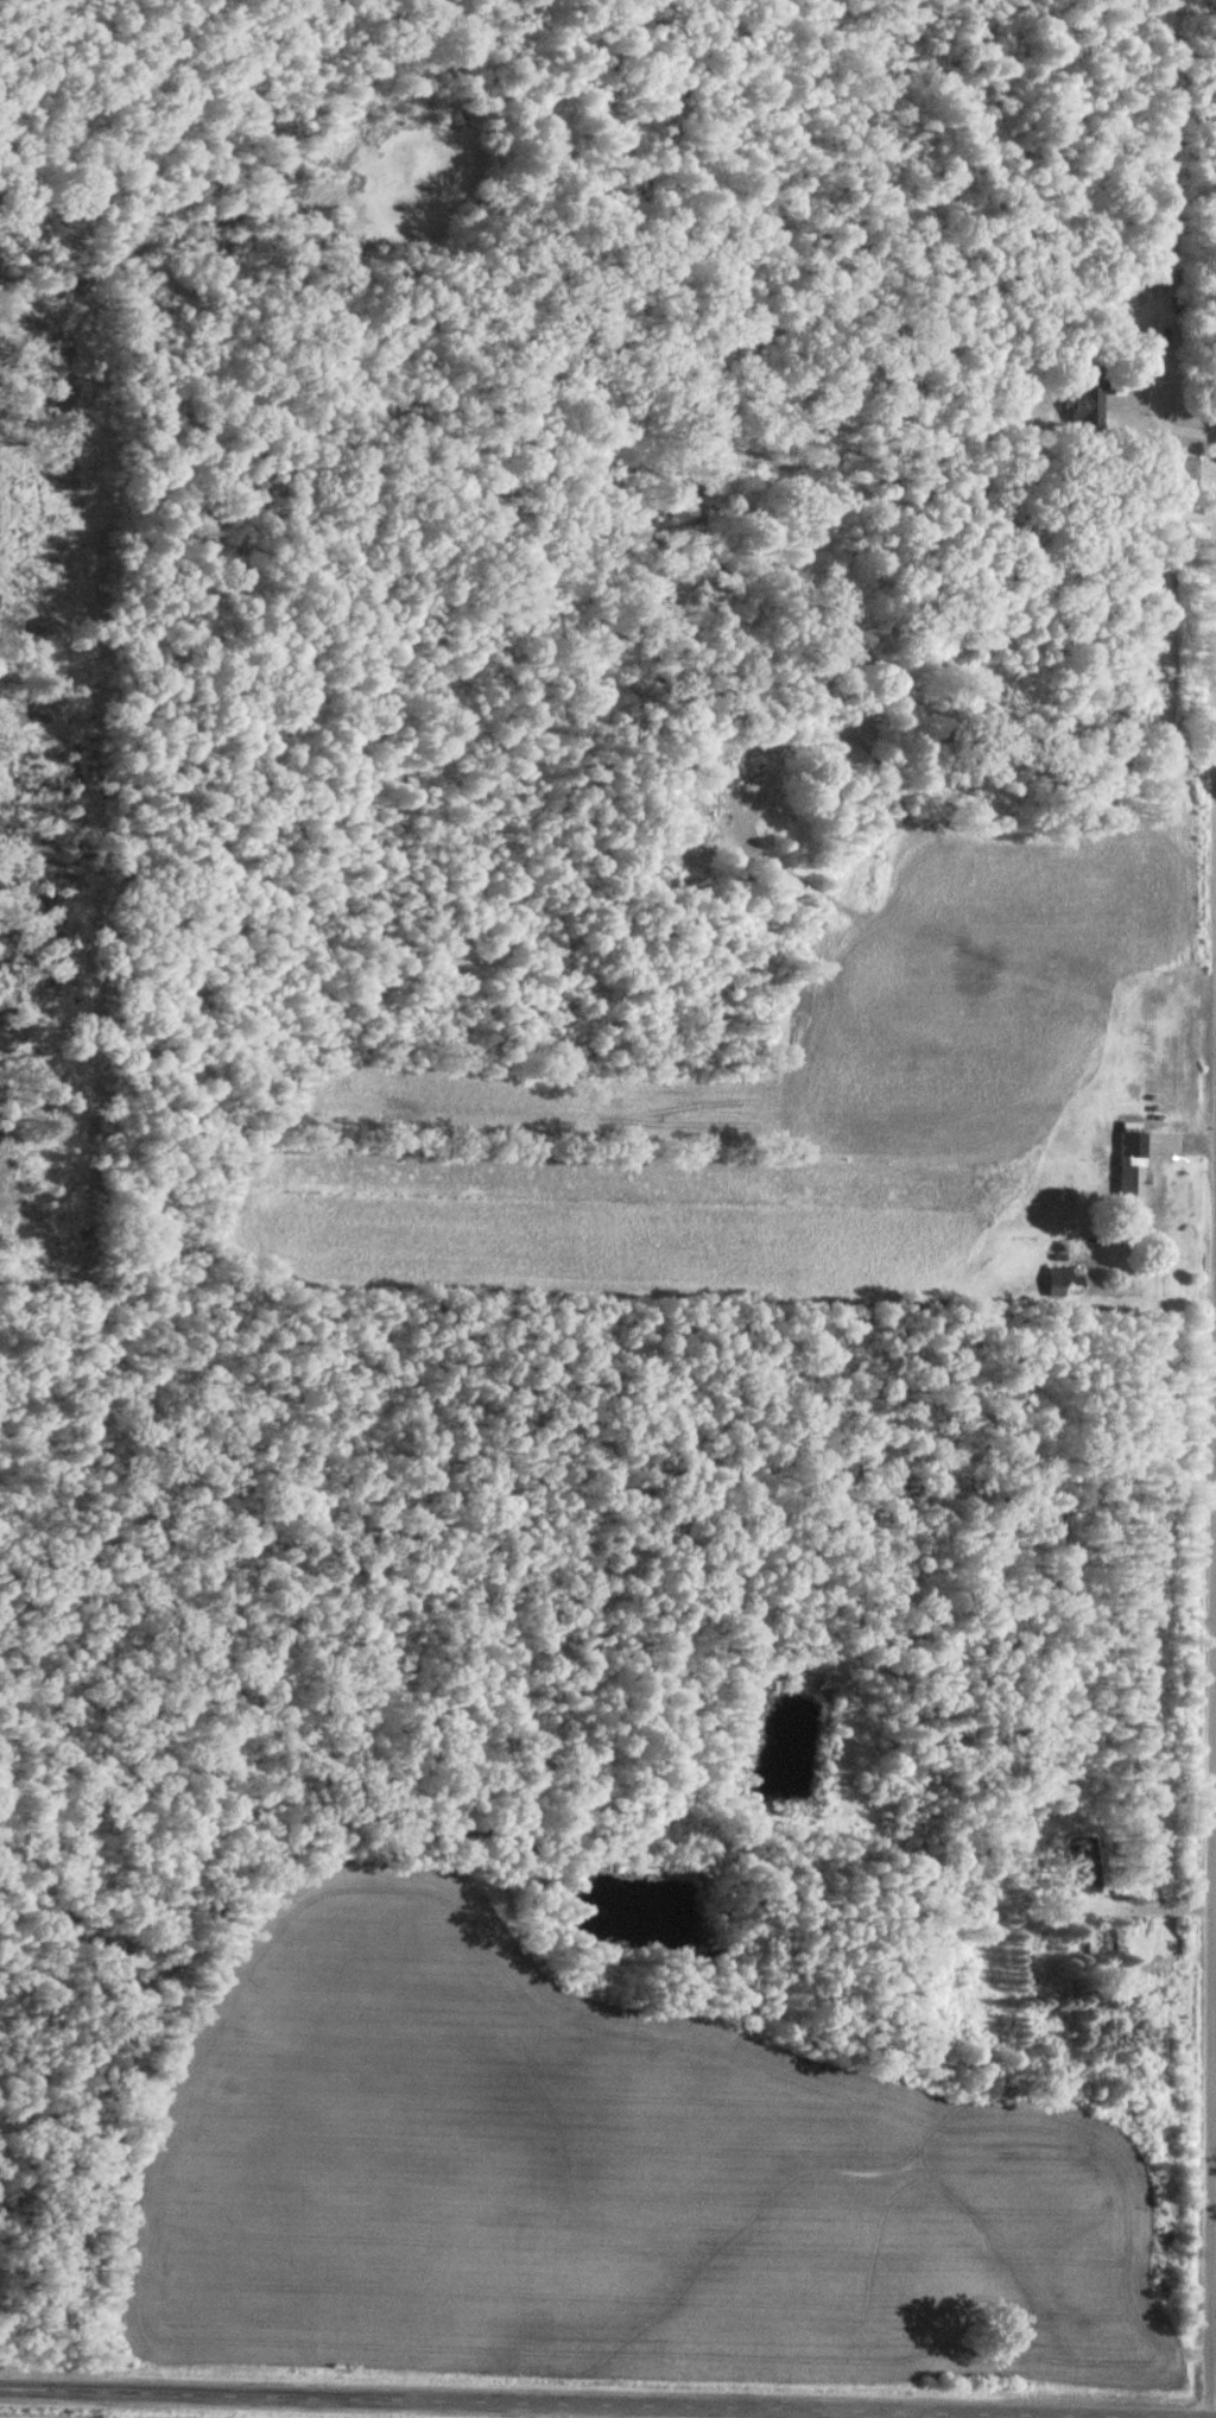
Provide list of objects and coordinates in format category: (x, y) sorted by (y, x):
building: (1090, 397)
road: (1142, 398)
building: (1134, 1159)
building: (1064, 1279)
road: (1212, 1812)
building: (1109, 1941)
road: (539, 2403)

